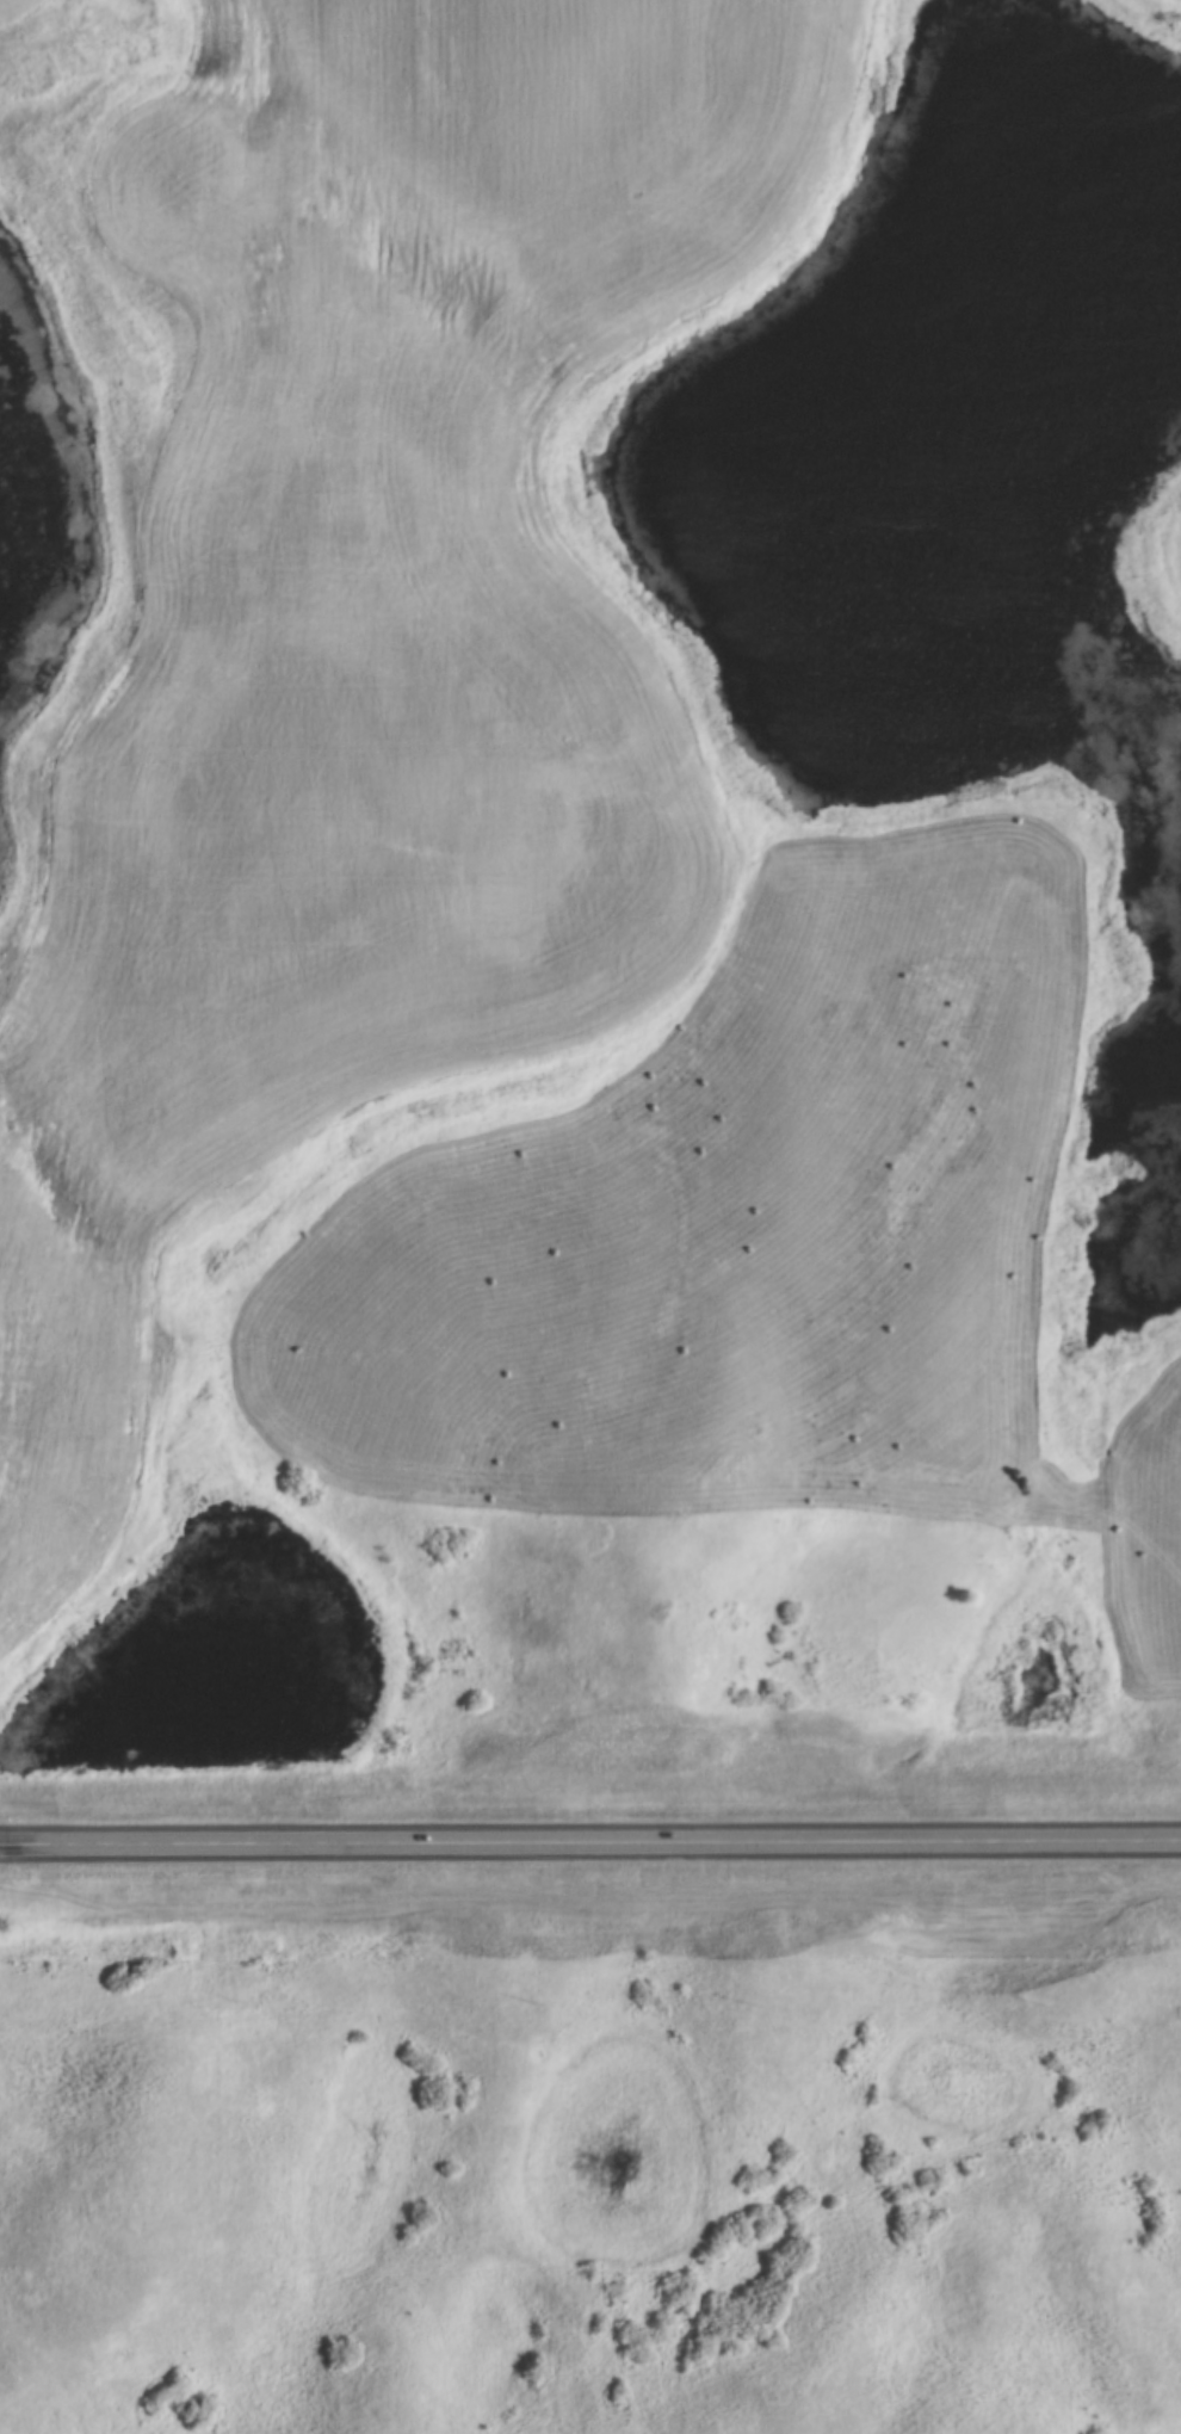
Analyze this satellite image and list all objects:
road: (590, 1836)

